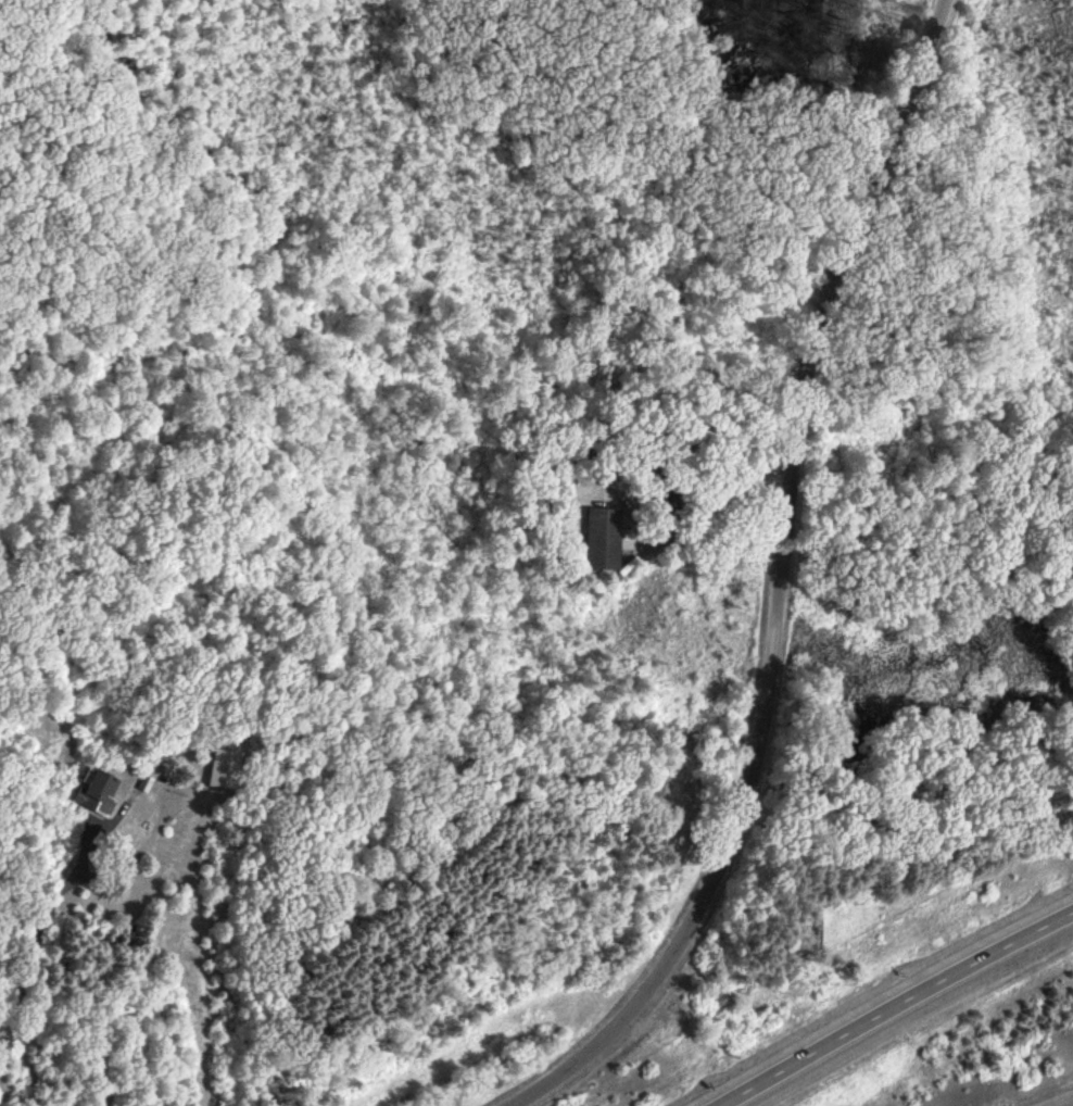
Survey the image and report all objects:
park: (536, 223)
road: (828, 338)
road: (712, 538)
building: (606, 539)
building: (101, 791)
road: (685, 929)
road: (26, 968)
road: (888, 1003)

